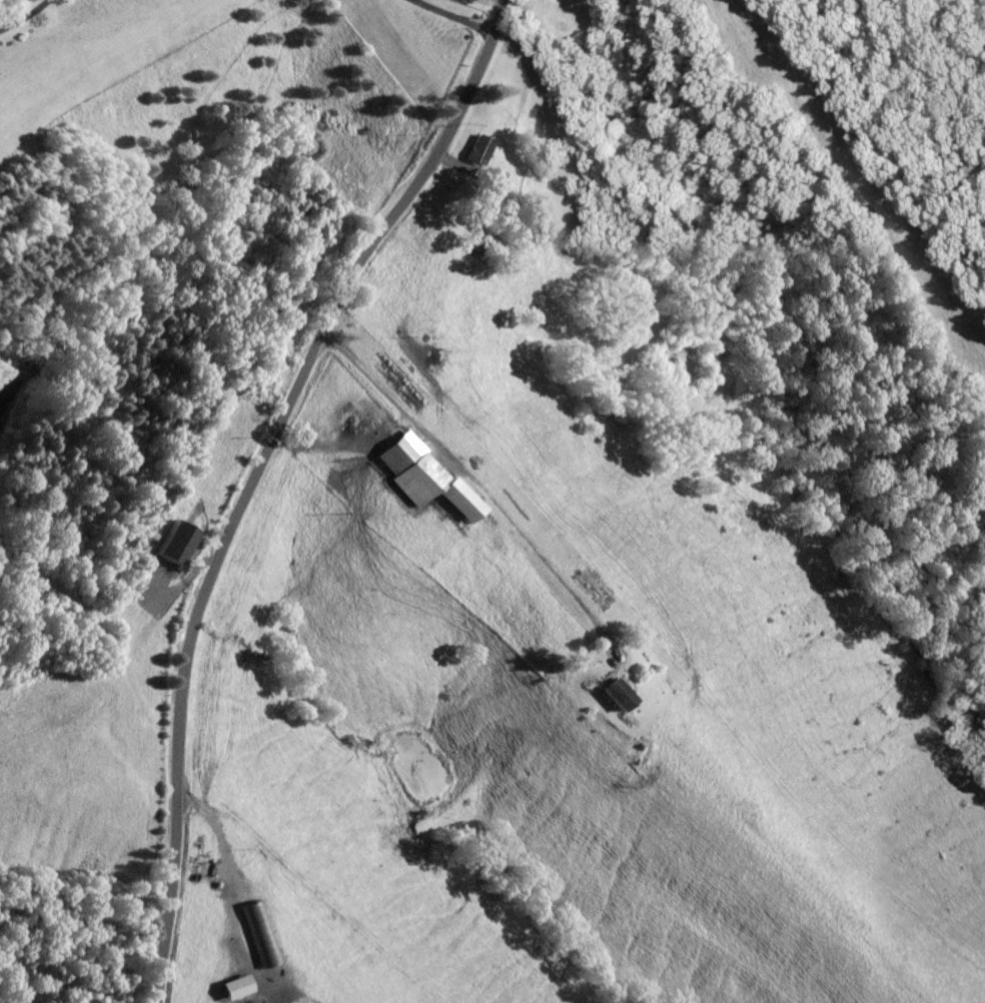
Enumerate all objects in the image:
building: (481, 147)
building: (429, 475)
road: (240, 477)
building: (179, 541)
building: (620, 693)
building: (235, 986)

